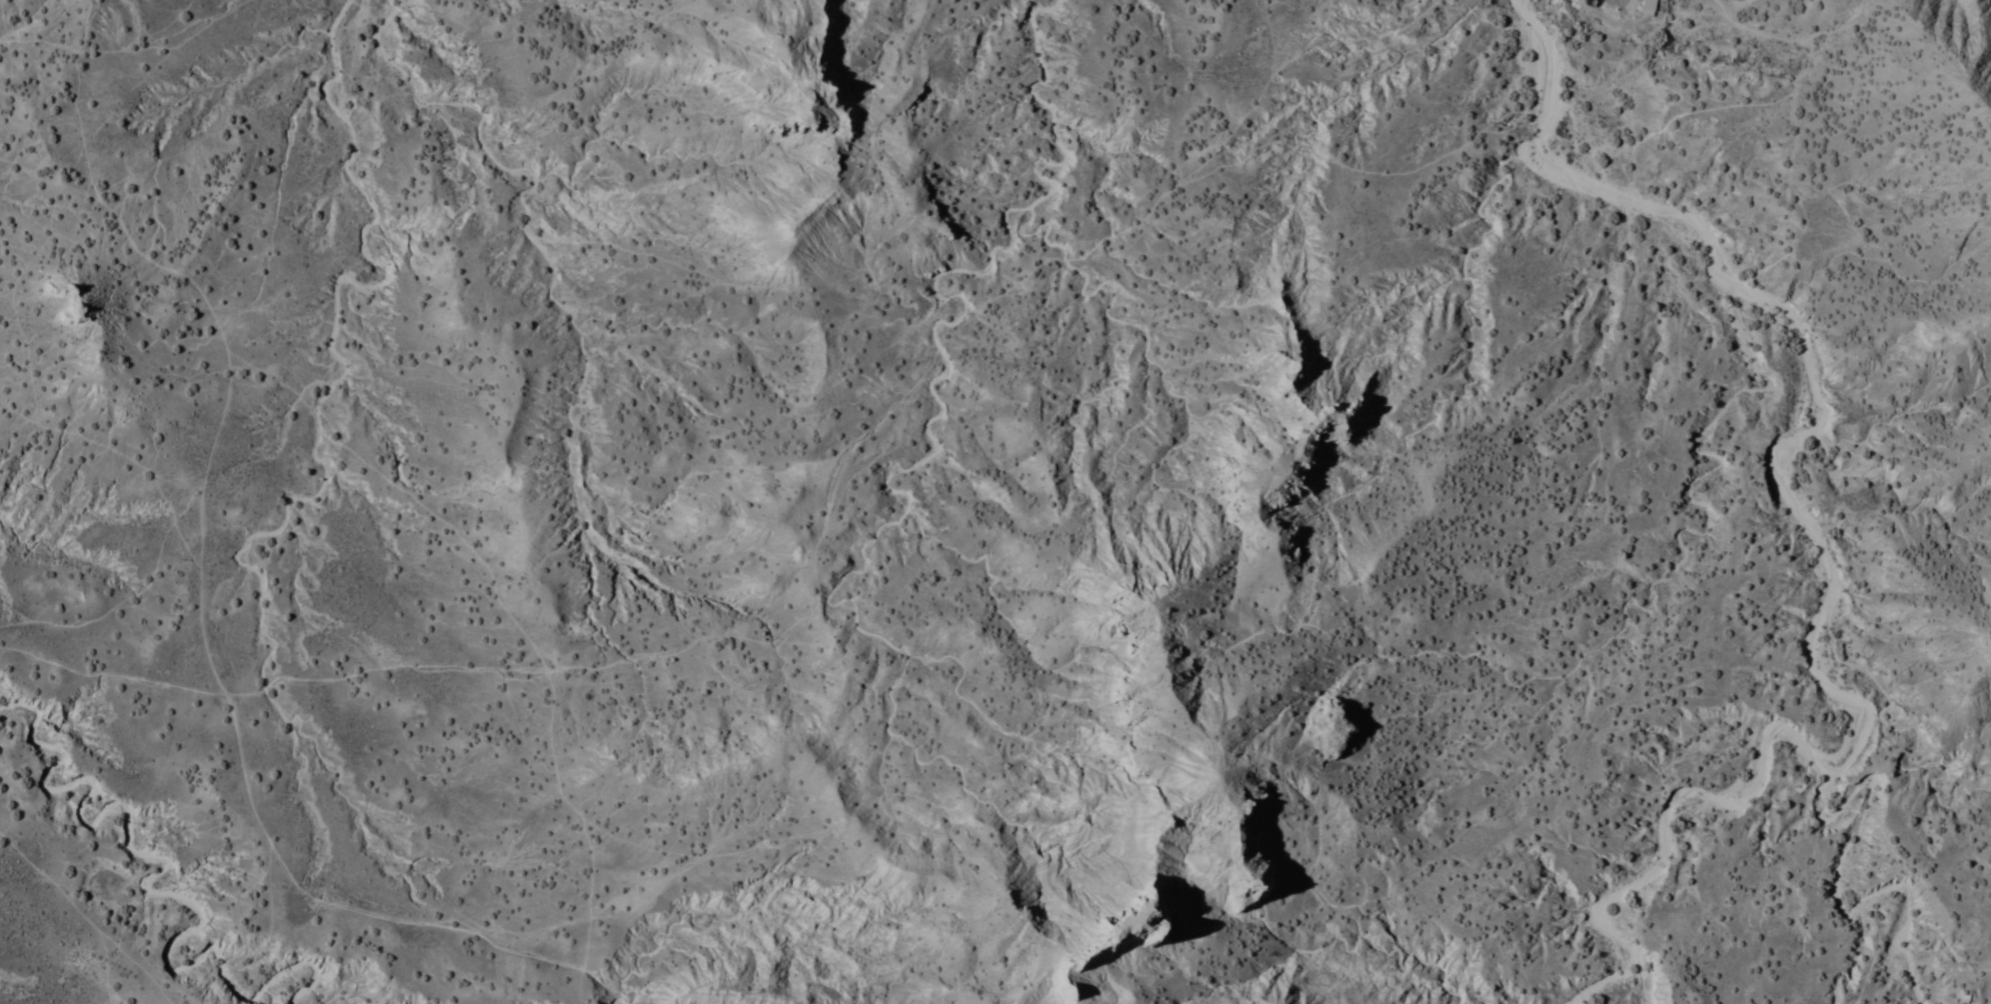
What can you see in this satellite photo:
building: (1646, 6)

